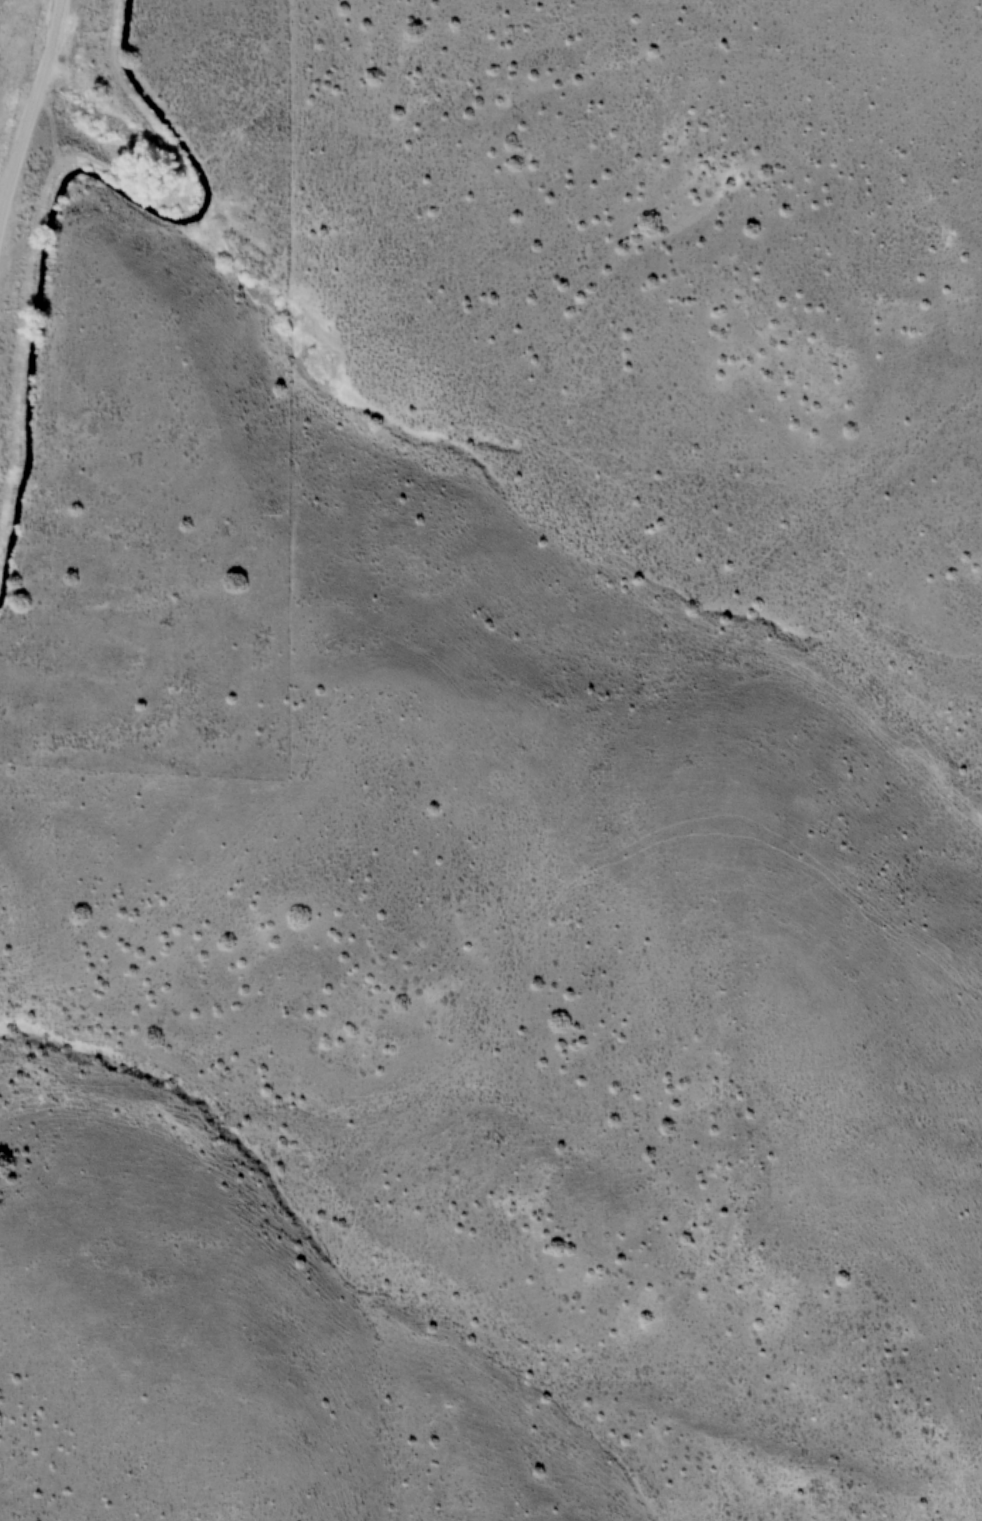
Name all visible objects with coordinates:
road: (31, 124)

